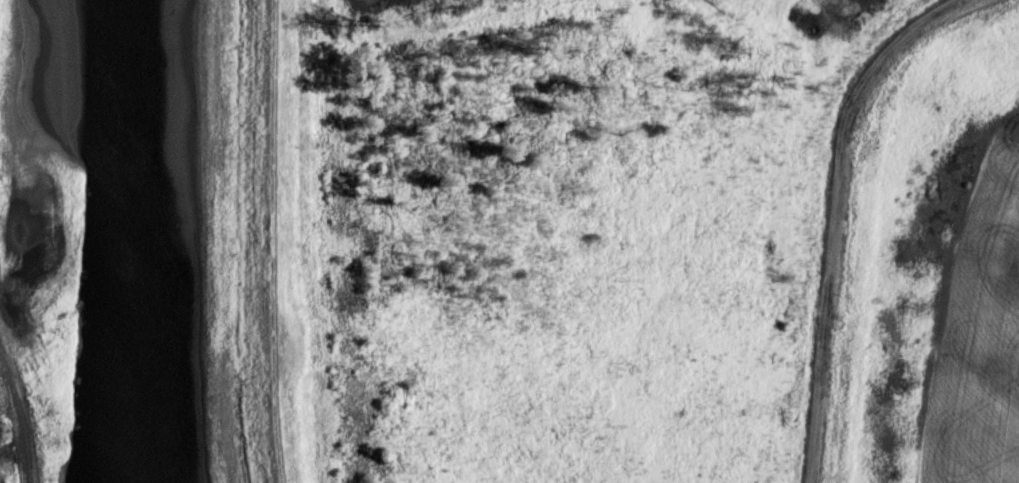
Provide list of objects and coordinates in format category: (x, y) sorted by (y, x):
road: (834, 215)

